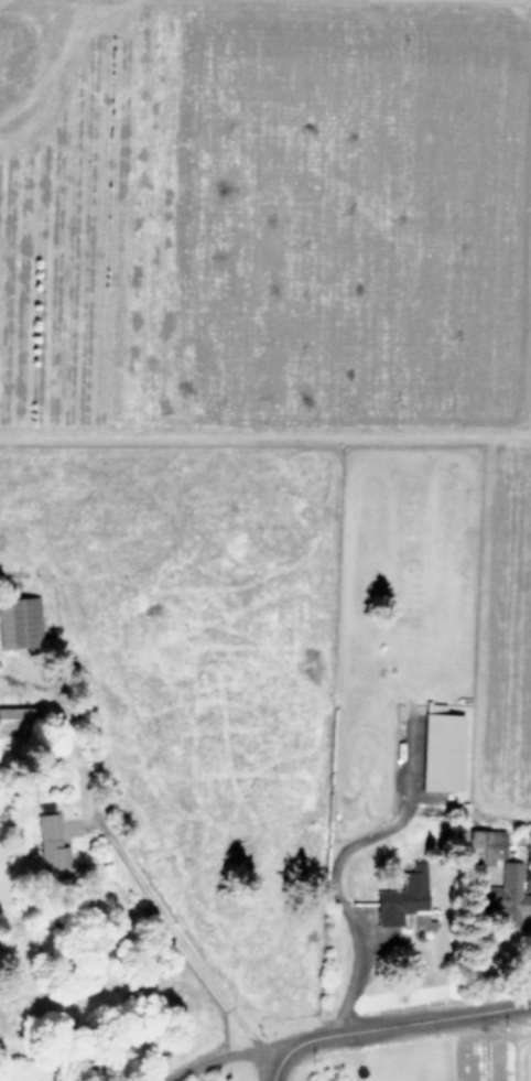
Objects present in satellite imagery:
crop: (284, 447)
building: (20, 623)
building: (15, 717)
building: (441, 748)
building: (52, 850)
road: (333, 864)
building: (403, 896)
building: (507, 897)
road: (165, 925)
road: (400, 1024)
road: (219, 1056)
road: (272, 1070)

